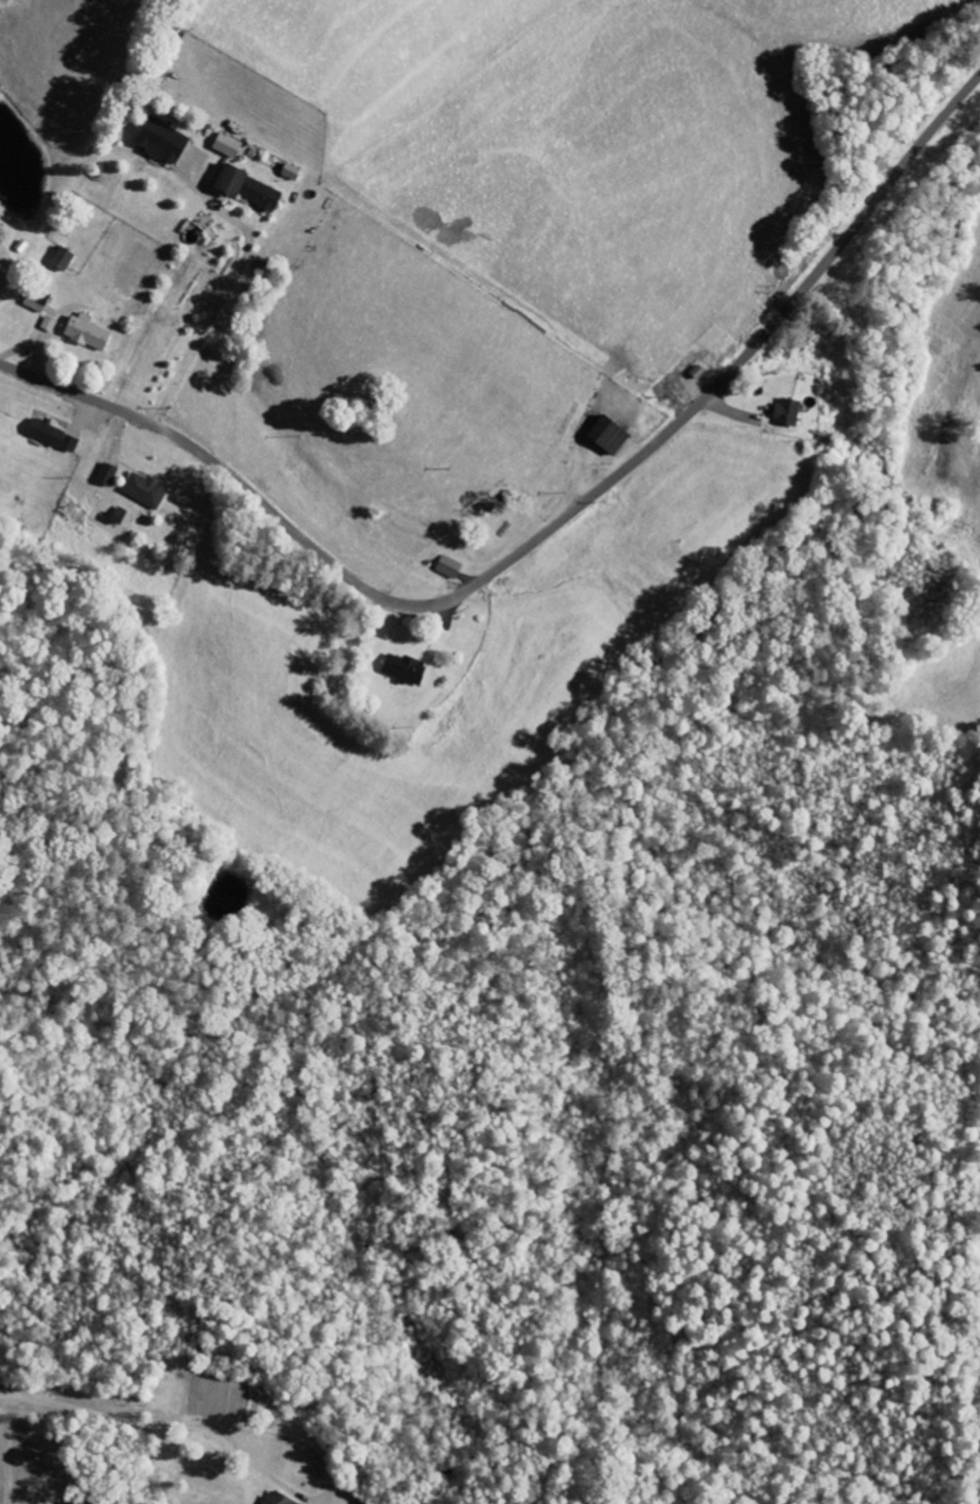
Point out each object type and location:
building: (164, 141)
building: (228, 146)
building: (291, 172)
building: (250, 188)
building: (64, 258)
road: (229, 288)
building: (37, 301)
building: (50, 324)
building: (88, 332)
building: (789, 412)
building: (54, 435)
building: (610, 435)
building: (108, 475)
building: (146, 490)
building: (74, 512)
building: (120, 515)
road: (544, 534)
building: (450, 567)
building: (405, 669)
road: (108, 1416)
road: (325, 1488)
building: (279, 1499)

